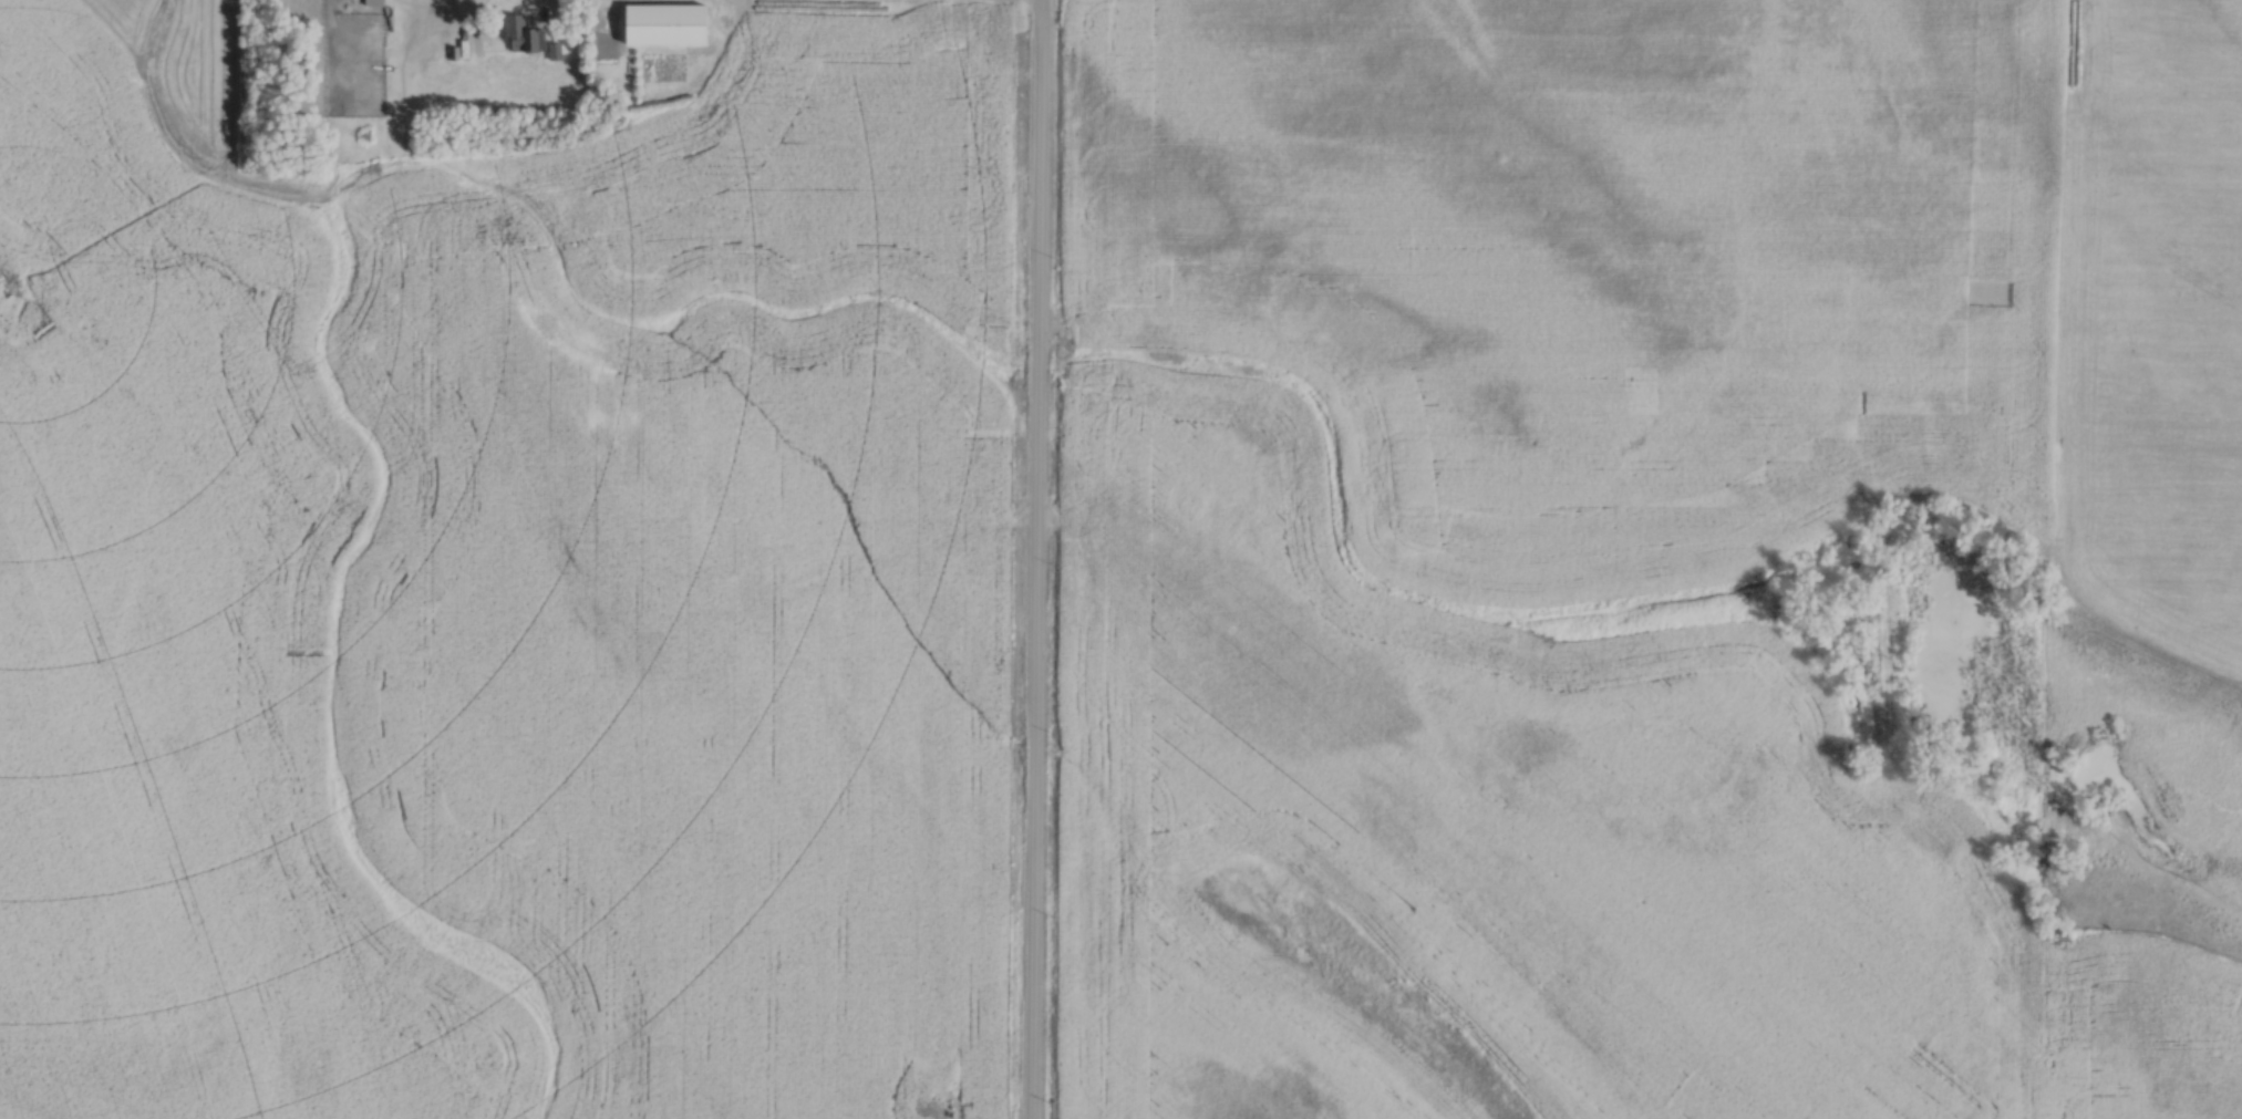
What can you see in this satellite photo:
building: (376, 2)
building: (668, 24)
building: (525, 35)
road: (1036, 559)

